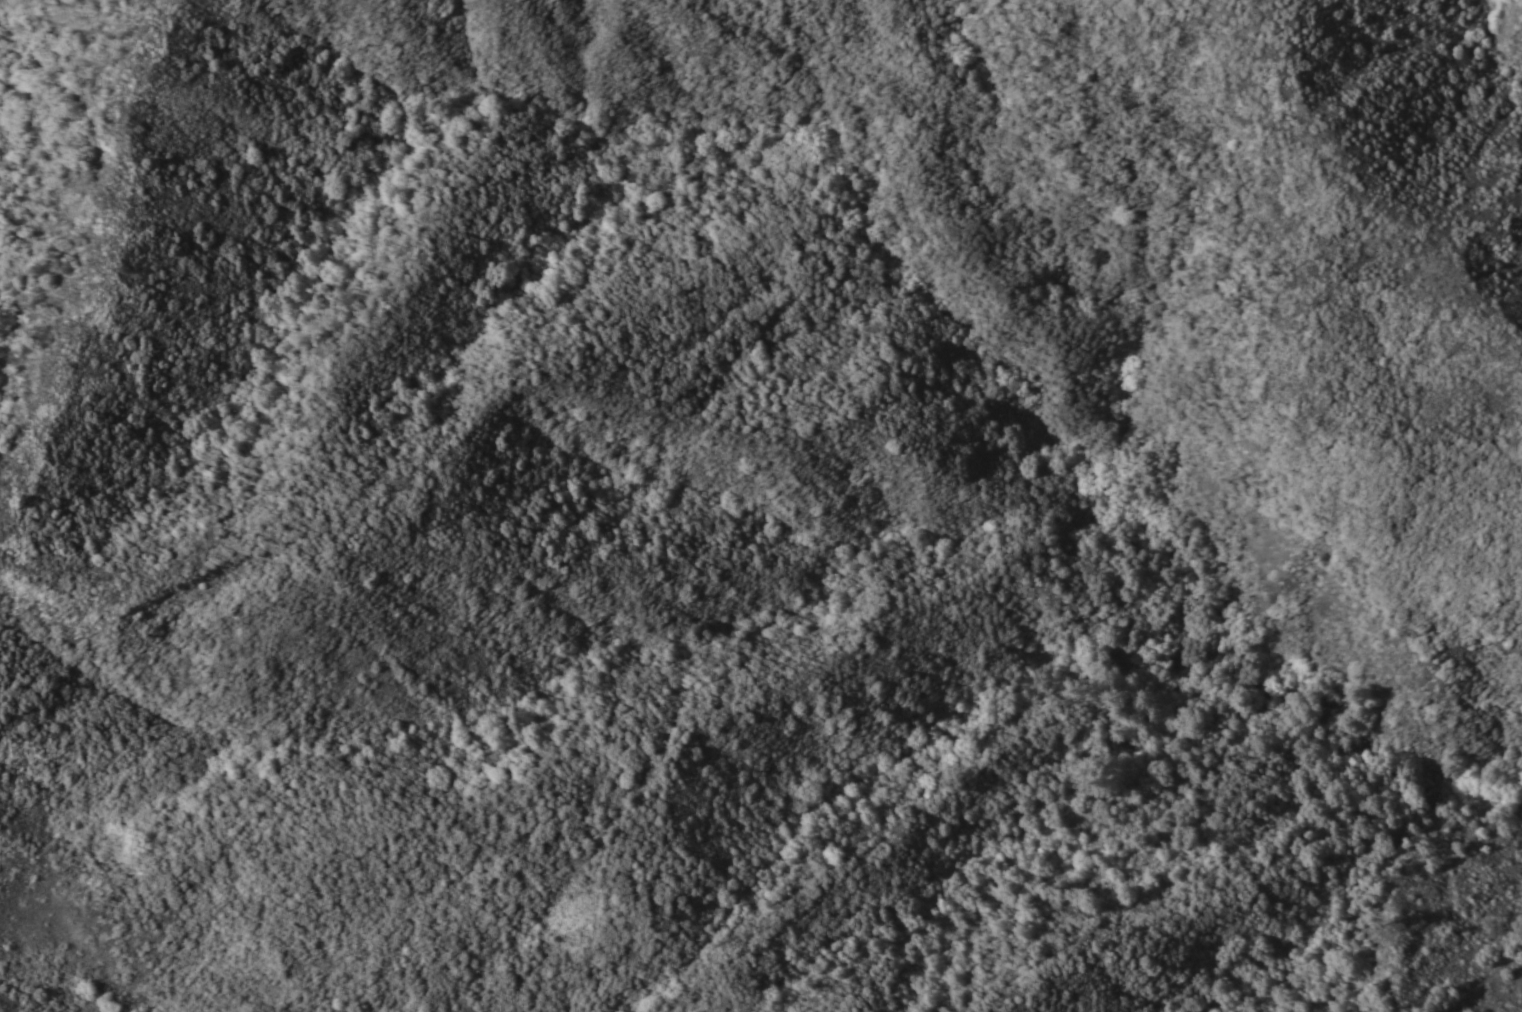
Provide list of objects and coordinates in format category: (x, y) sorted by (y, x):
road: (97, 232)

